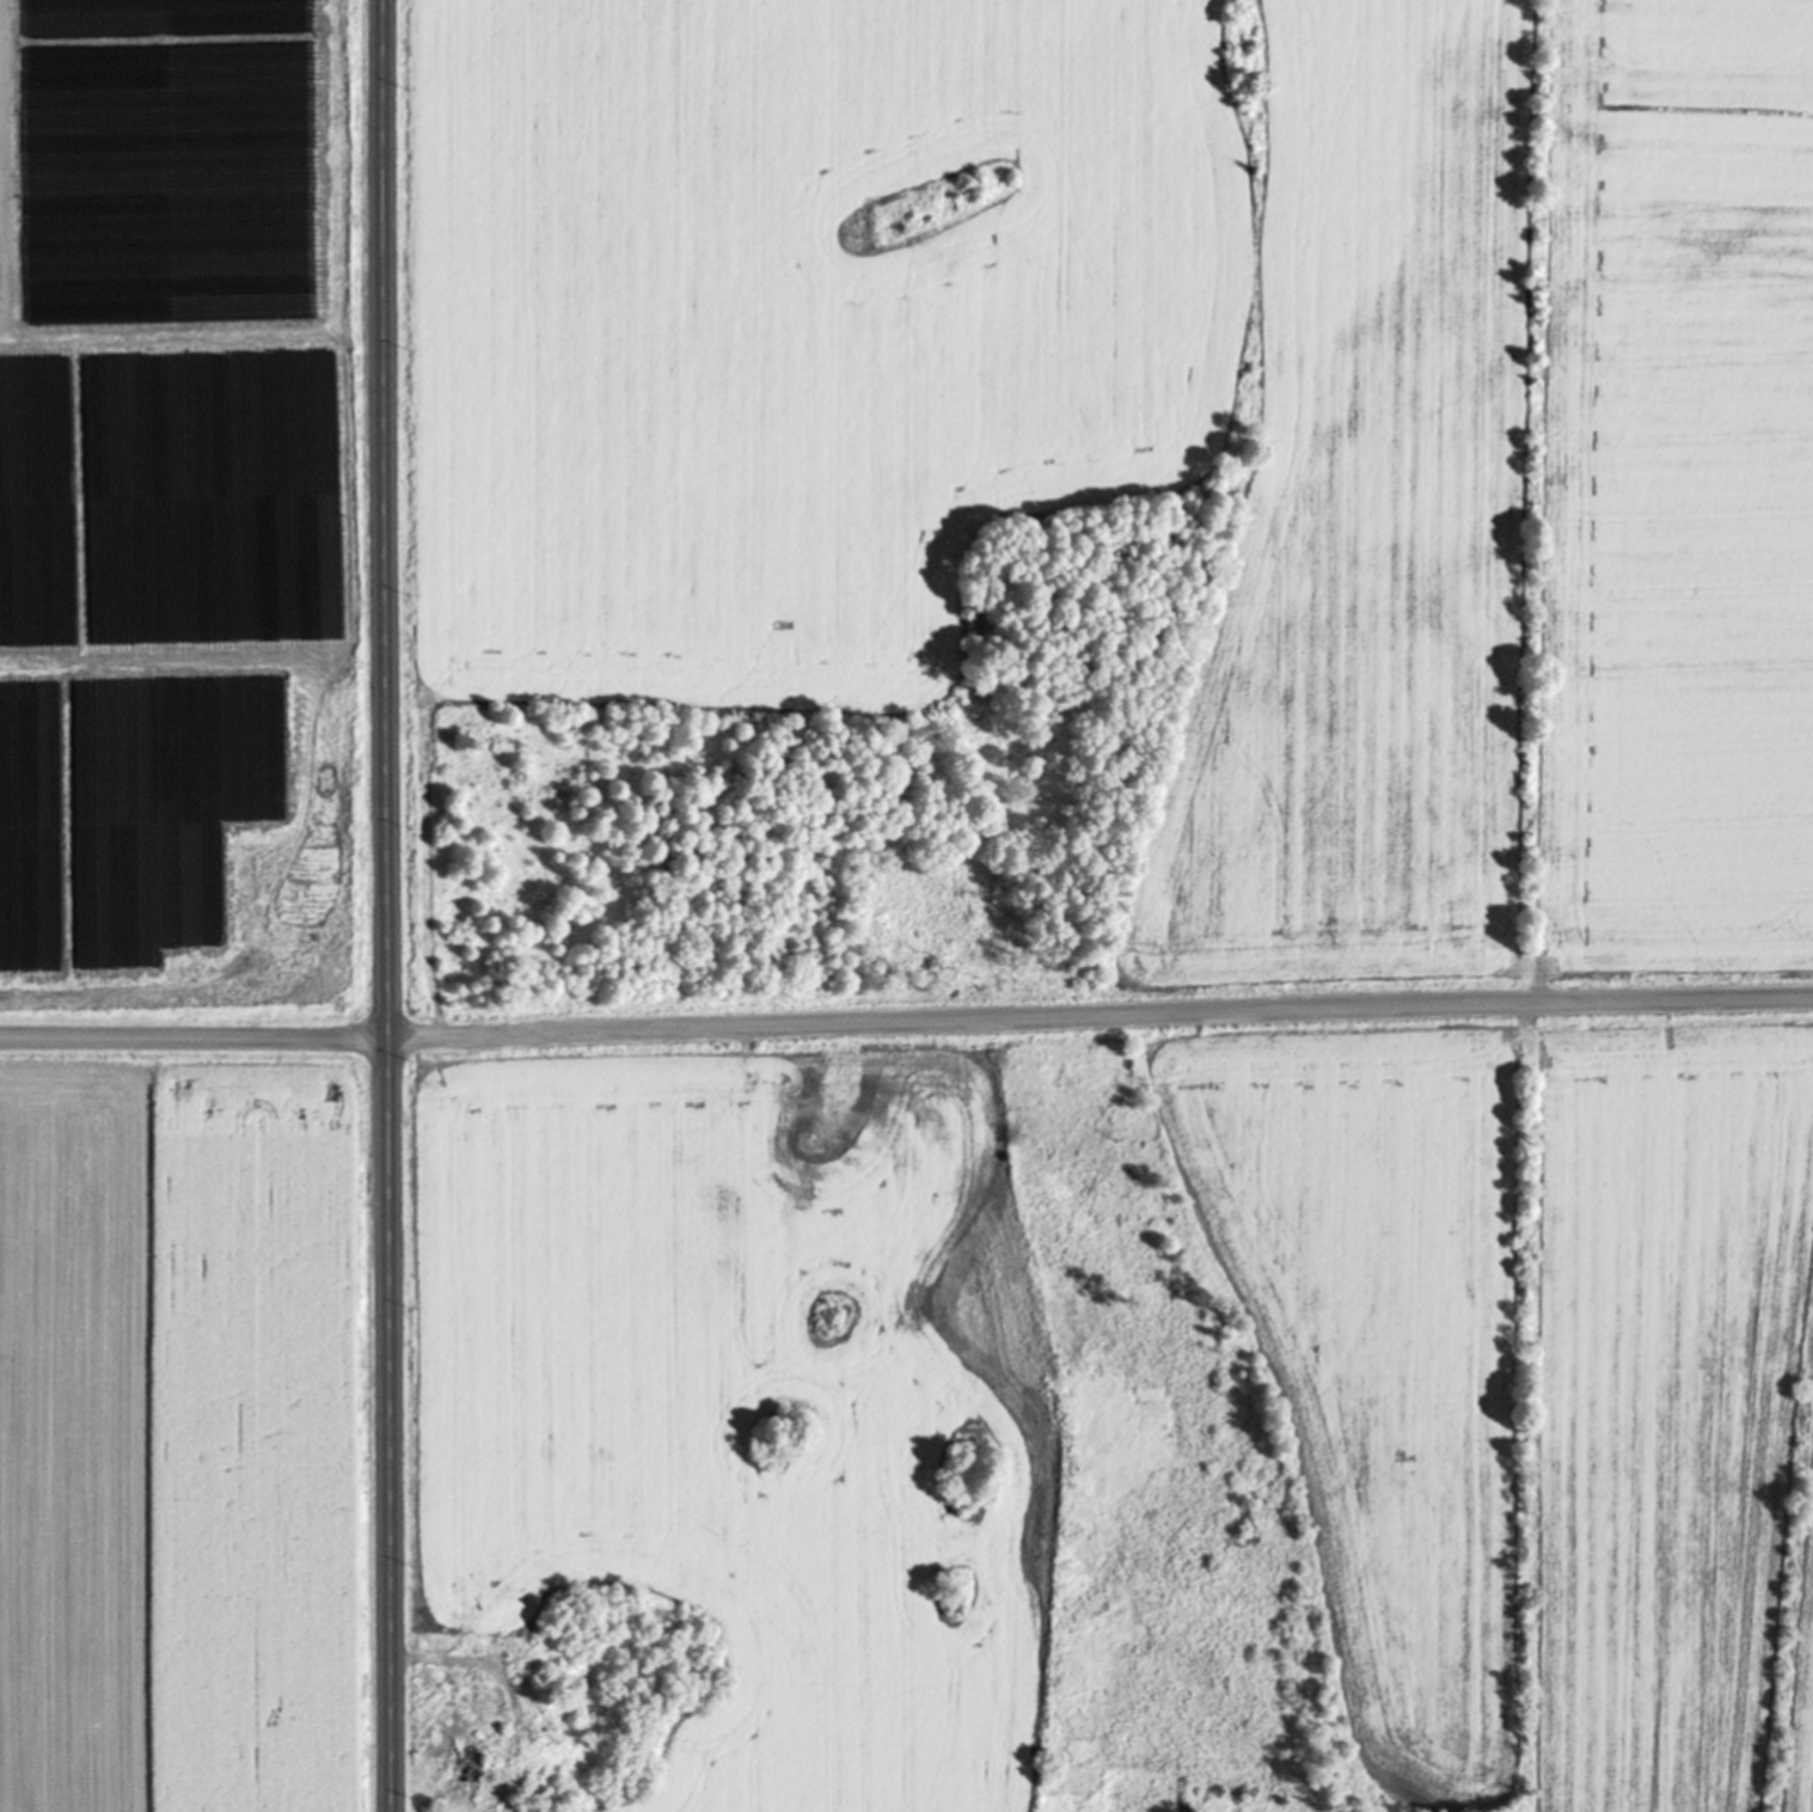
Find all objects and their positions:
road: (388, 905)
road: (906, 1028)
building: (463, 1768)

